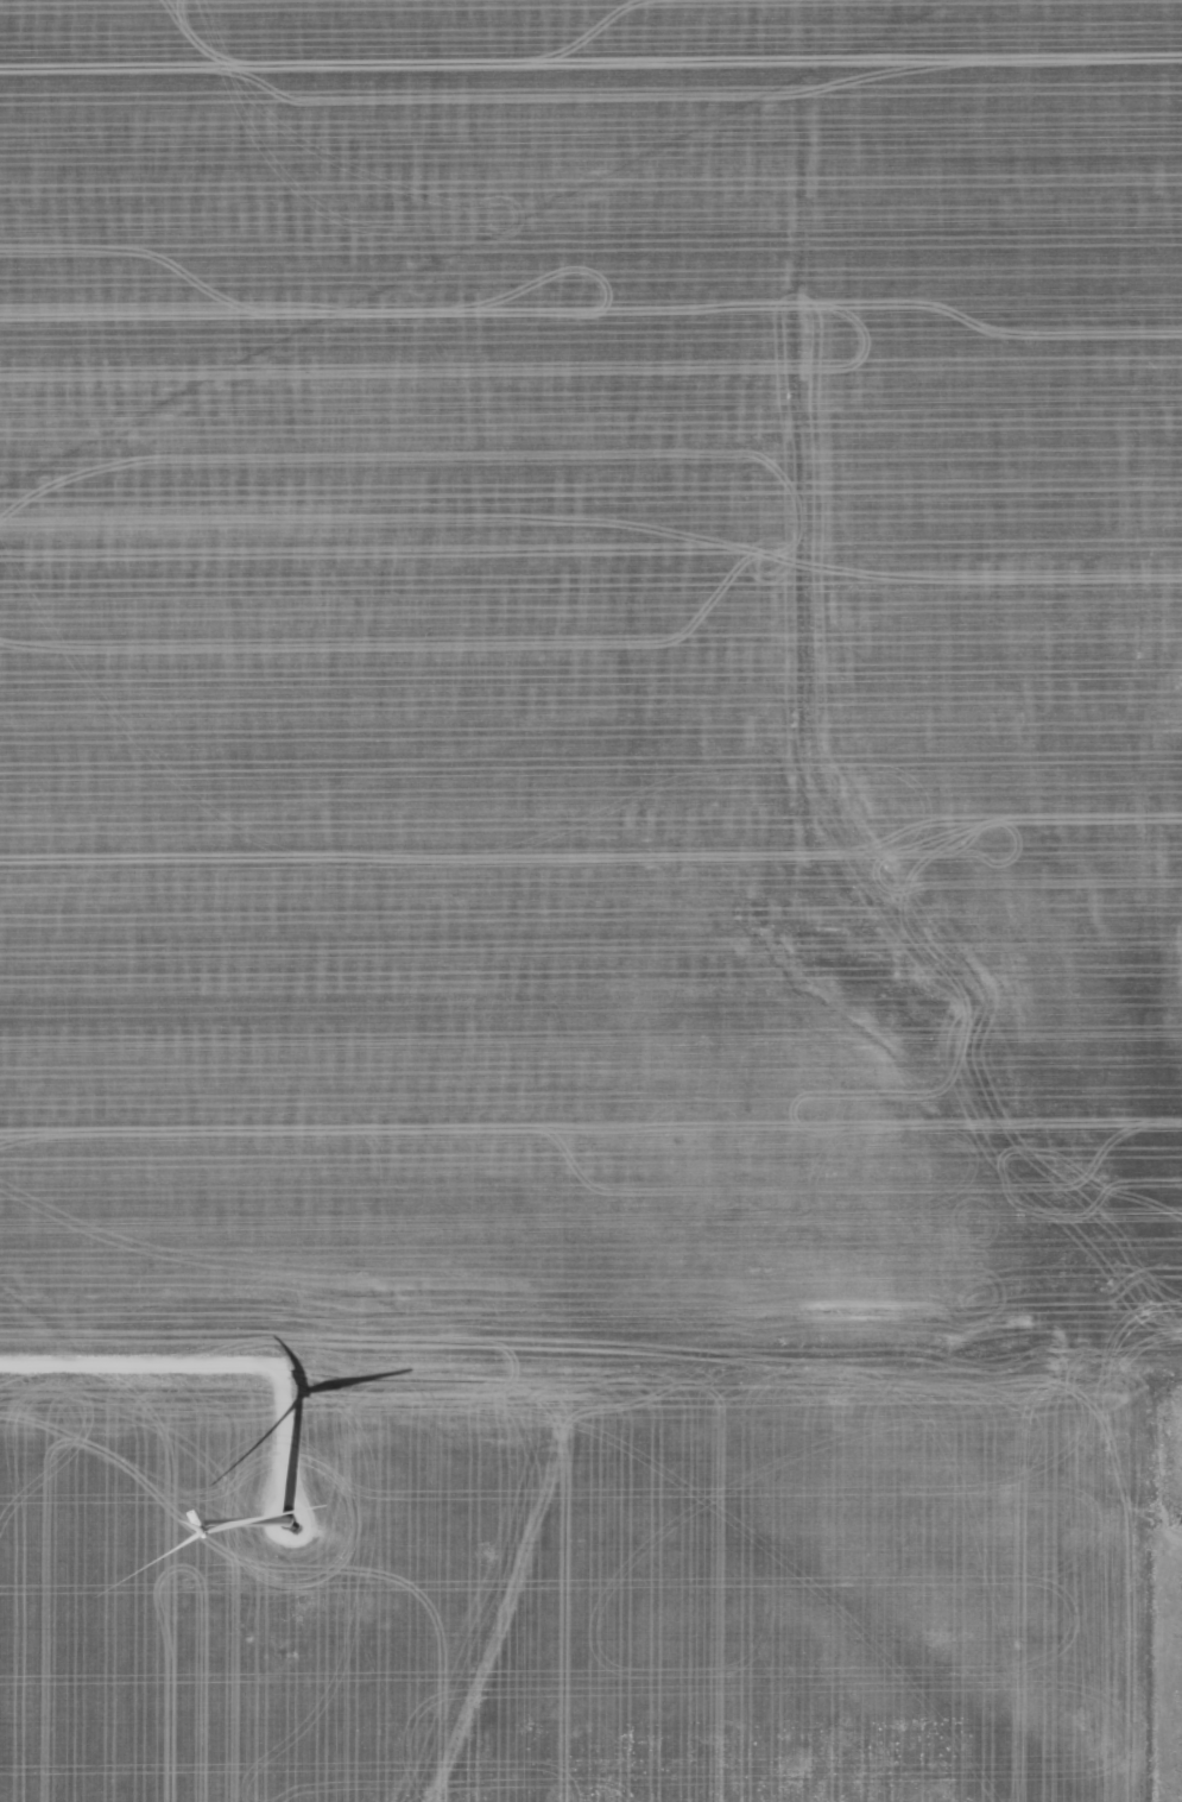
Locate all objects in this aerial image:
wind turbine: (283, 1519)

